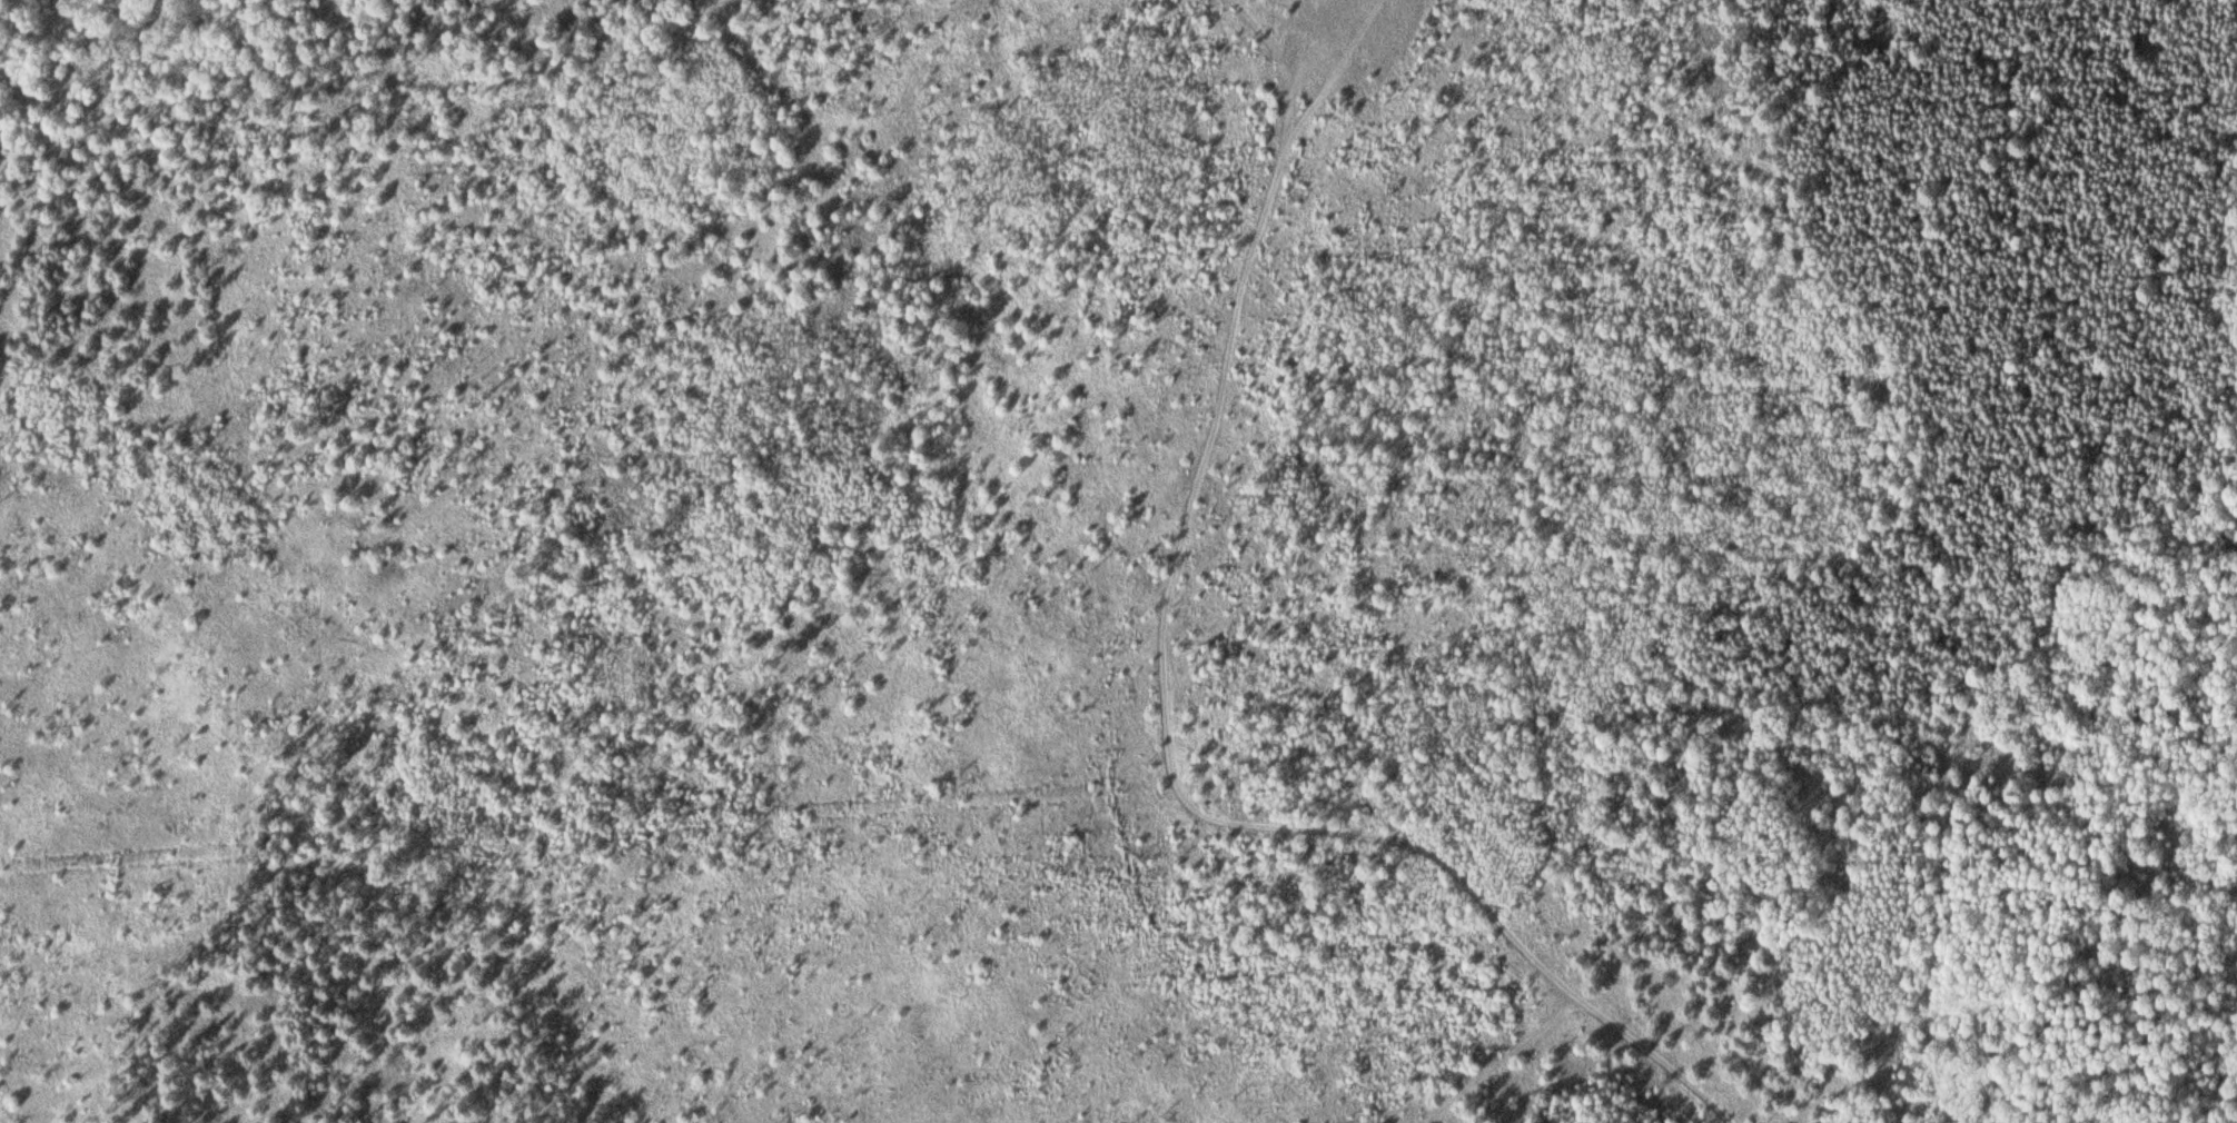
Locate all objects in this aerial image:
road: (1237, 367)
road: (1461, 898)

